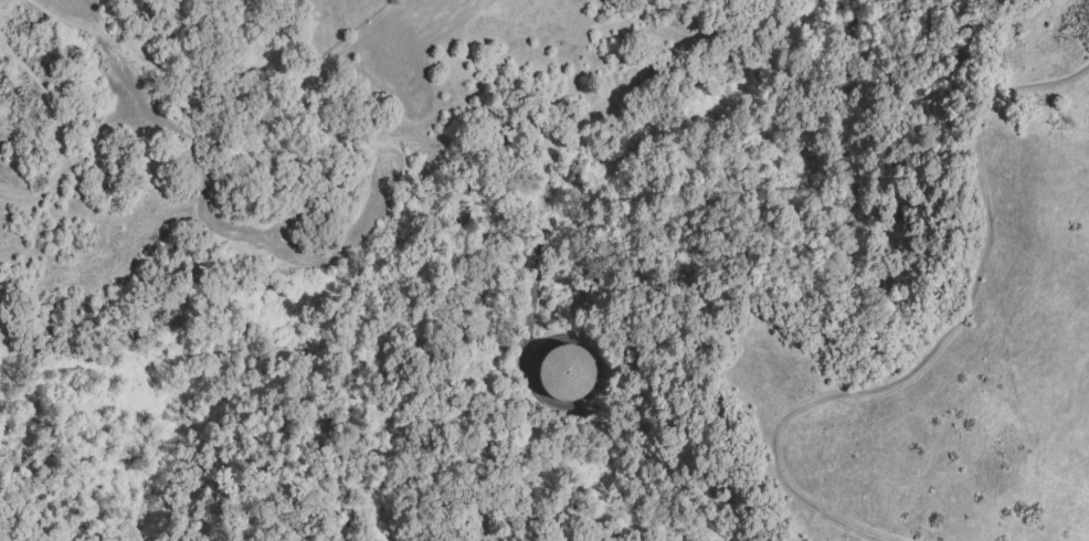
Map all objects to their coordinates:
road: (652, 70)
road: (792, 114)
road: (59, 126)
road: (305, 159)
road: (527, 237)
road: (945, 343)
building: (560, 374)
storage tank: (560, 374)

